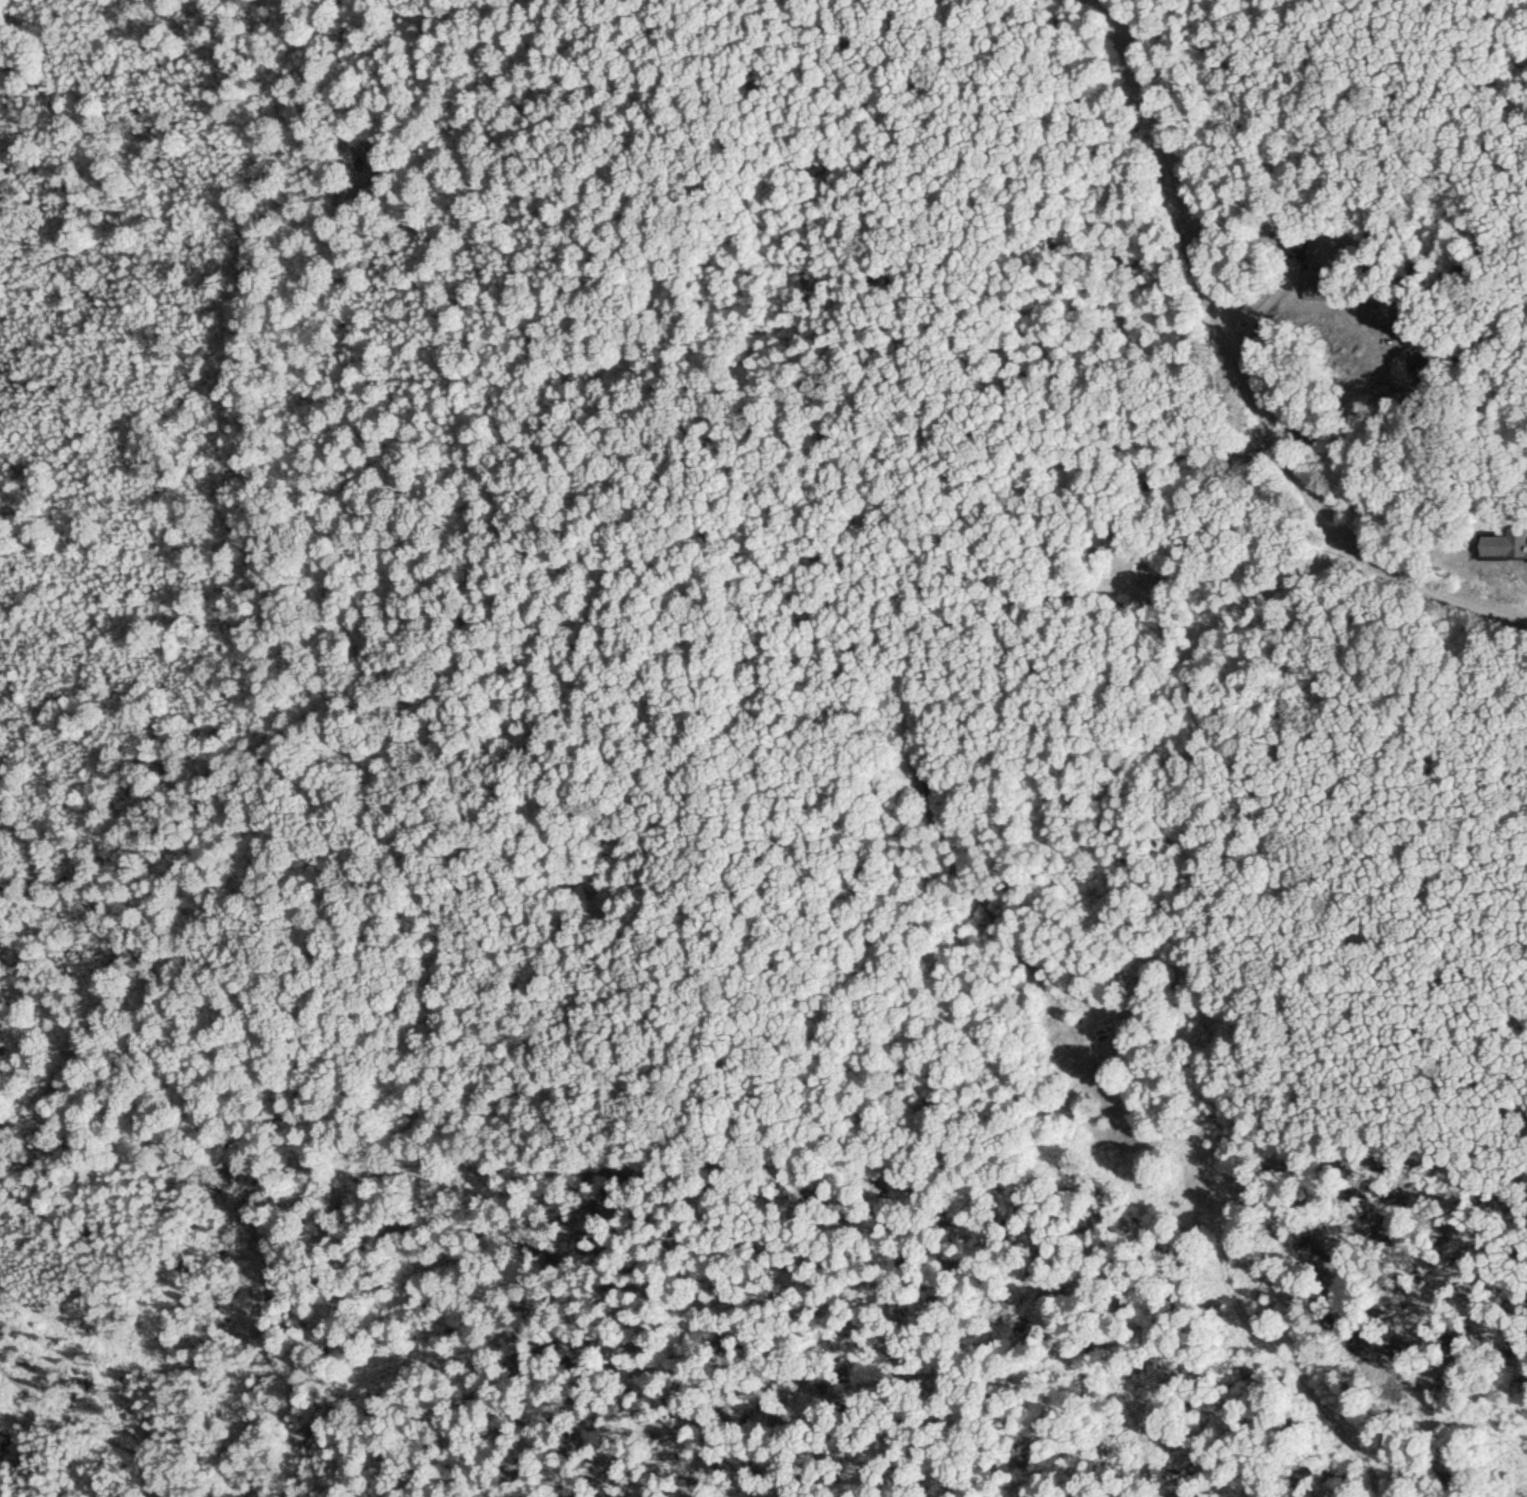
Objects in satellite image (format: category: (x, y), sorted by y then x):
building: (1301, 246)
building: (1315, 283)
road: (1249, 369)
building: (1506, 543)

